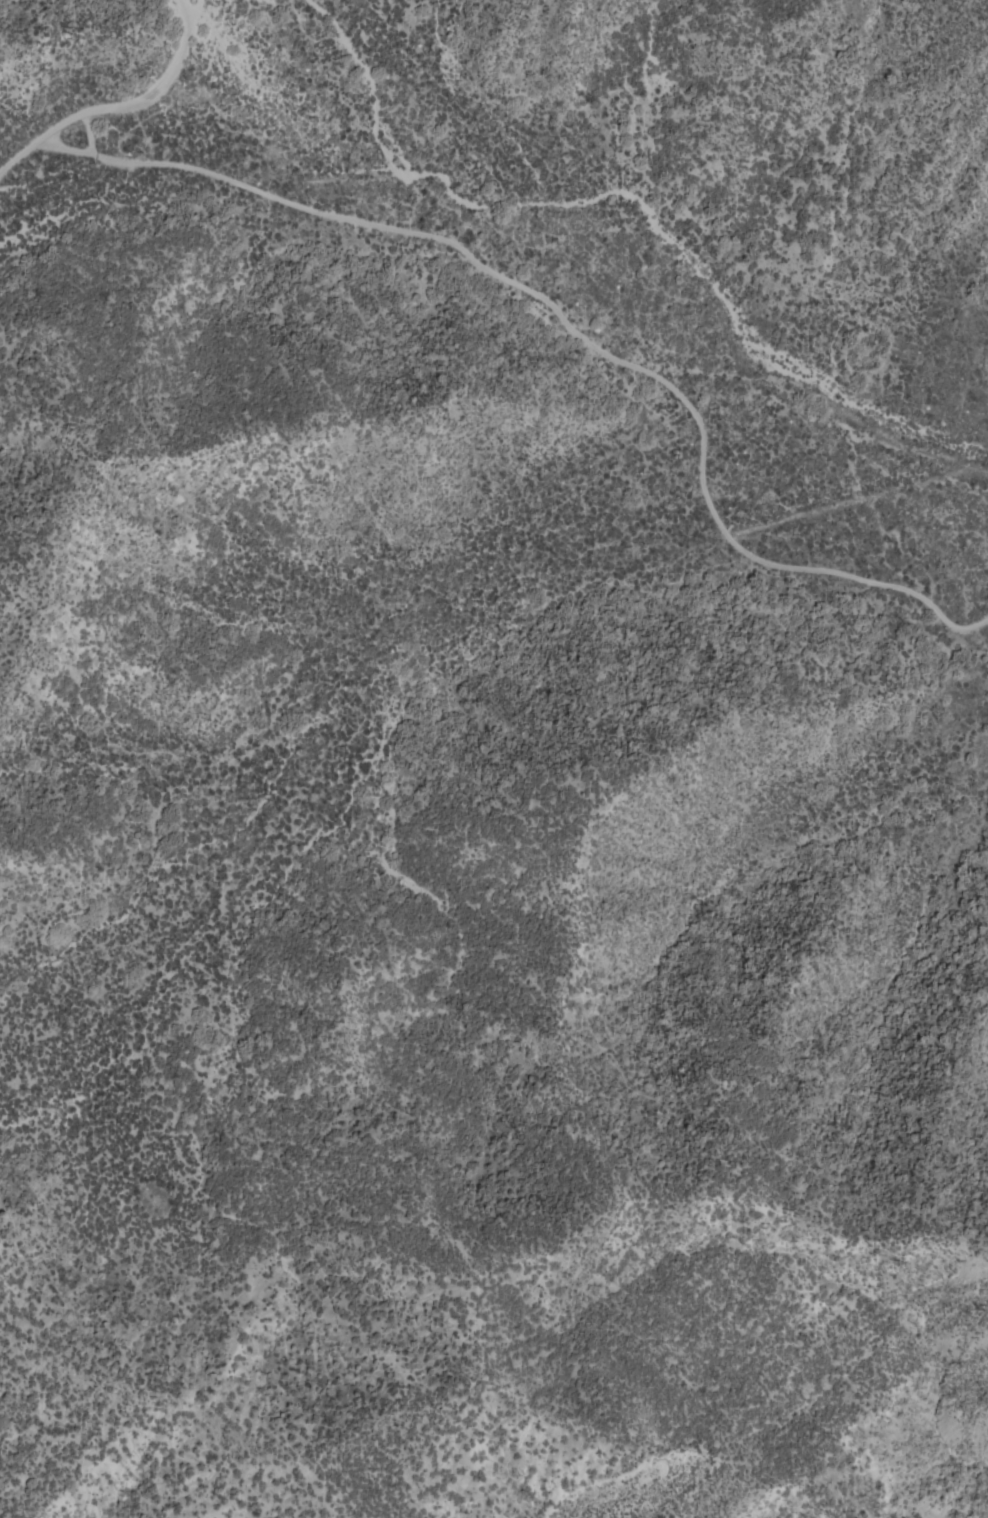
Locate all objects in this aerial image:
road: (120, 107)
road: (80, 152)
road: (589, 345)

